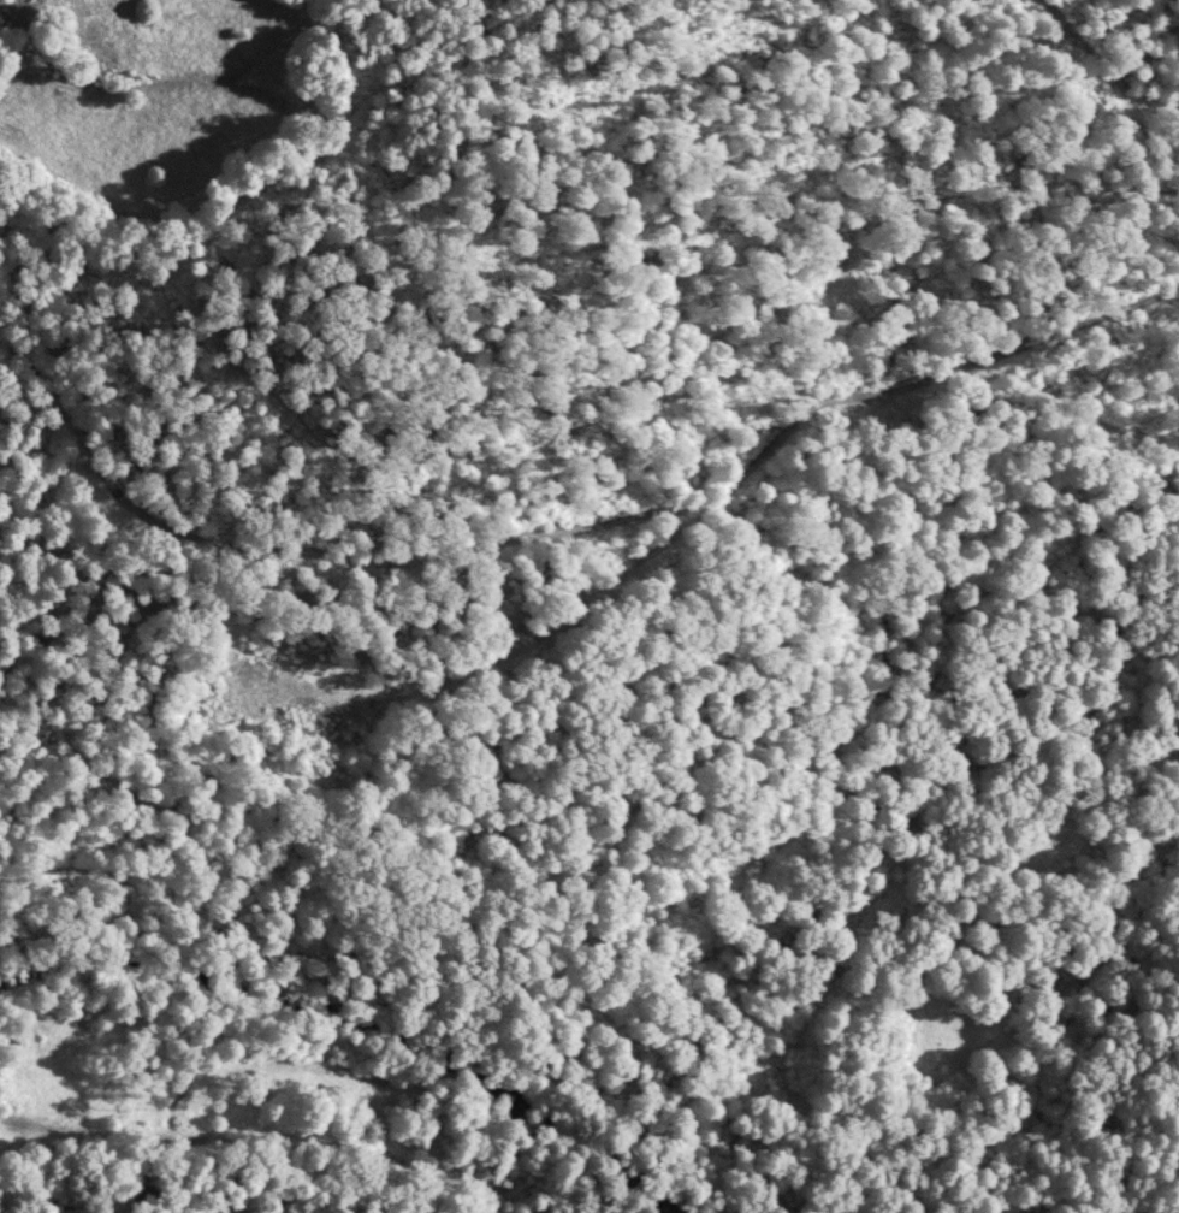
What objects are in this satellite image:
railway: (265, 1141)

